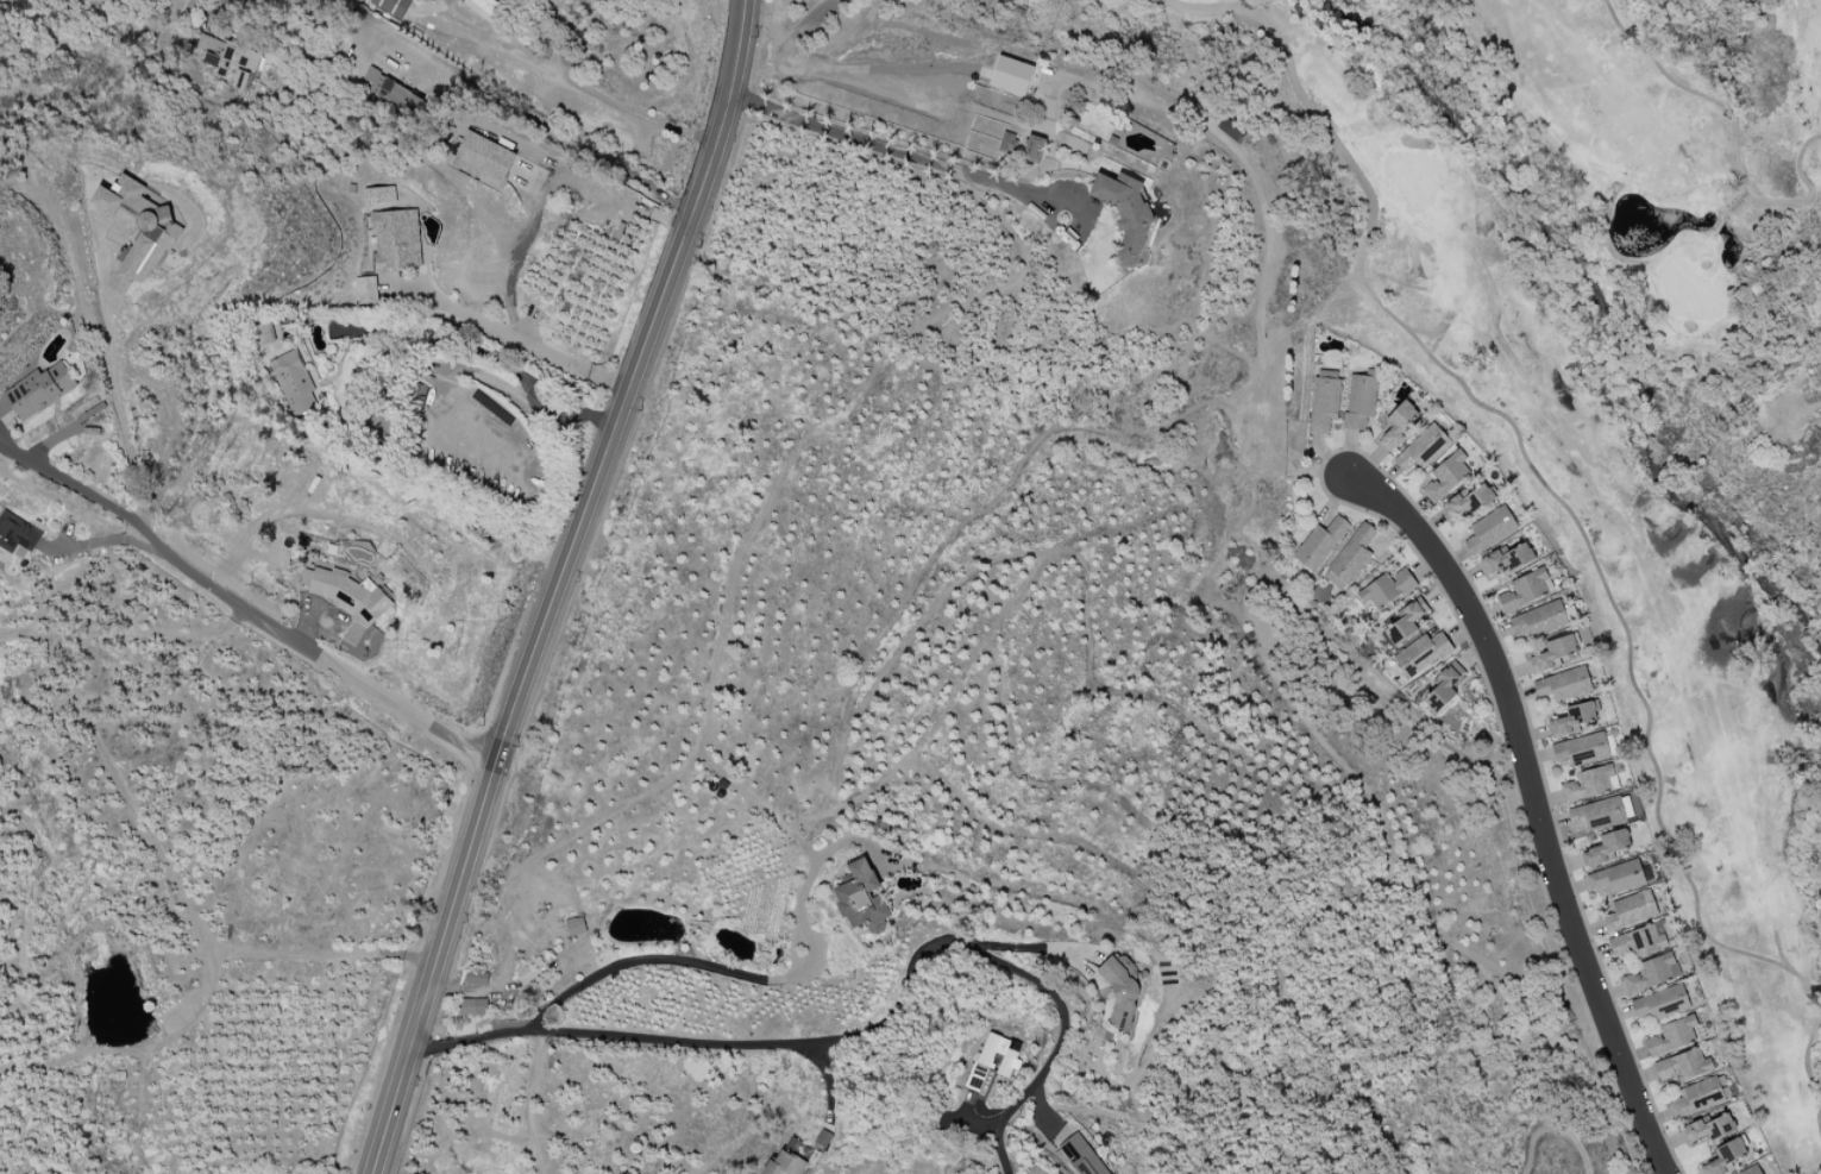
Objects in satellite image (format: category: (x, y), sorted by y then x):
road: (219, 4)
building: (393, 6)
road: (527, 57)
building: (230, 59)
building: (1012, 74)
road: (722, 83)
building: (391, 93)
road: (511, 108)
building: (1007, 143)
building: (1034, 147)
building: (483, 158)
road: (942, 163)
building: (1125, 213)
building: (393, 231)
building: (155, 241)
building: (365, 289)
road: (523, 340)
park: (1601, 373)
building: (293, 382)
building: (40, 390)
building: (1360, 400)
building: (1324, 402)
road: (121, 406)
building: (1420, 448)
building: (1445, 476)
building: (1467, 502)
building: (1490, 529)
building: (17, 533)
road: (105, 539)
building: (1321, 541)
building: (1350, 557)
building: (1507, 558)
road: (564, 566)
building: (1387, 588)
building: (1525, 589)
building: (352, 595)
road: (243, 607)
building: (1538, 620)
building: (1406, 621)
building: (1423, 652)
building: (1552, 653)
building: (1564, 684)
building: (1440, 690)
building: (1572, 718)
building: (1582, 749)
building: (1590, 783)
road: (1539, 805)
building: (1597, 812)
building: (1610, 847)
building: (1616, 877)
building: (1631, 910)
building: (576, 925)
building: (1639, 940)
road: (670, 958)
building: (1651, 972)
building: (476, 978)
building: (1120, 993)
building: (1662, 1003)
building: (473, 1005)
road: (854, 1029)
building: (1672, 1035)
building: (994, 1059)
building: (1683, 1065)
road: (828, 1081)
building: (1696, 1097)
road: (528, 1100)
building: (1709, 1128)
road: (1000, 1148)
building: (1725, 1157)
building: (786, 1163)
building: (1751, 1170)

